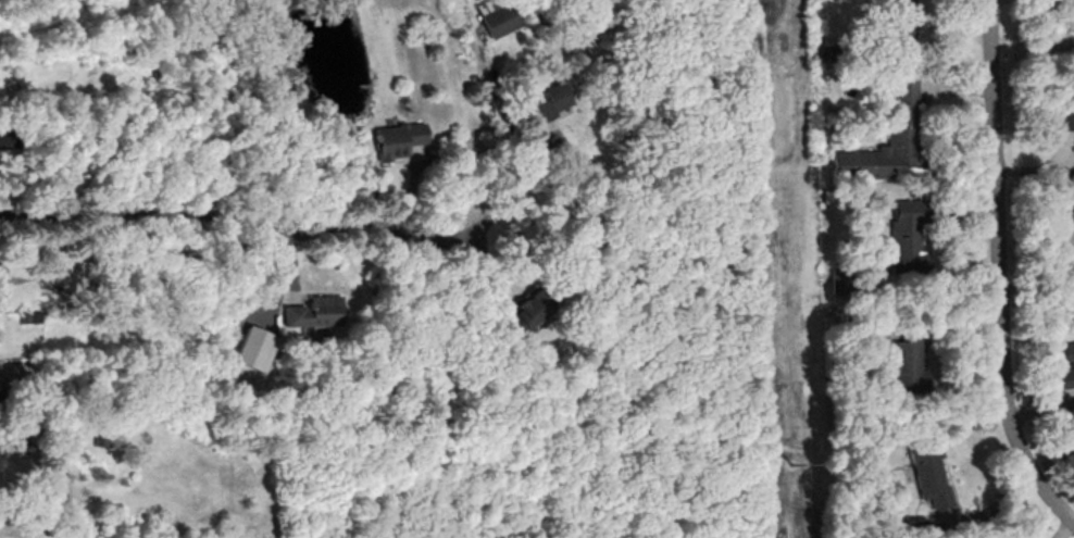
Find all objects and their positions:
building: (898, 3)
building: (1073, 20)
building: (496, 21)
building: (541, 104)
building: (889, 132)
building: (1073, 132)
building: (396, 141)
building: (1064, 168)
building: (1061, 220)
building: (900, 228)
road: (290, 235)
road: (992, 274)
building: (521, 305)
building: (309, 310)
building: (897, 347)
building: (1063, 363)
power tower: (789, 463)

